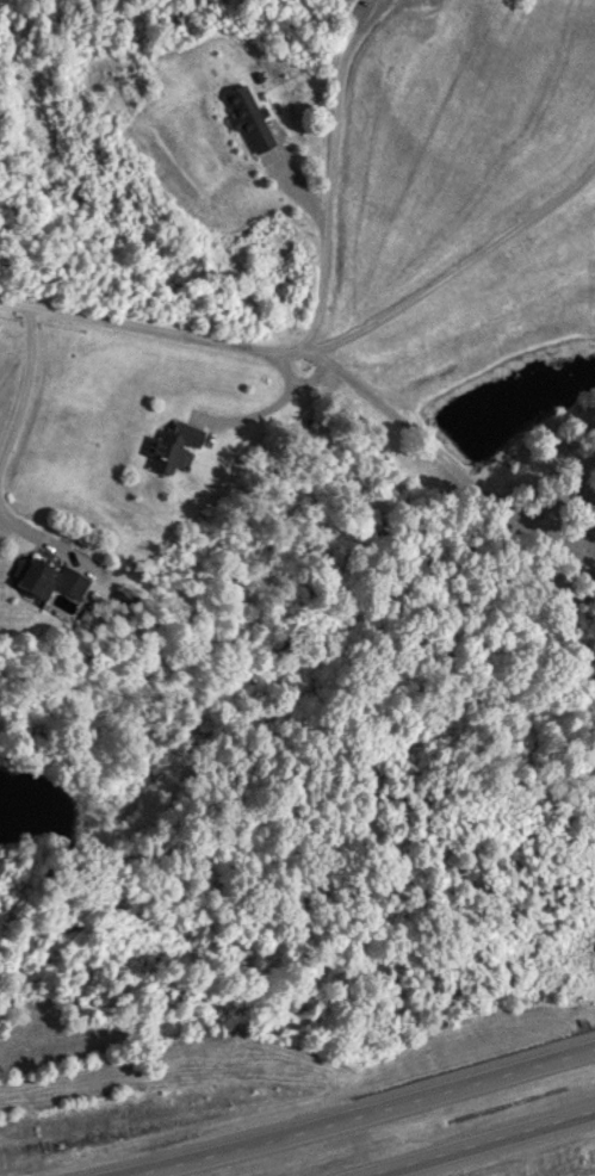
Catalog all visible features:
building: (247, 117)
road: (157, 326)
building: (169, 445)
building: (48, 578)
road: (401, 1120)
road: (502, 1147)

